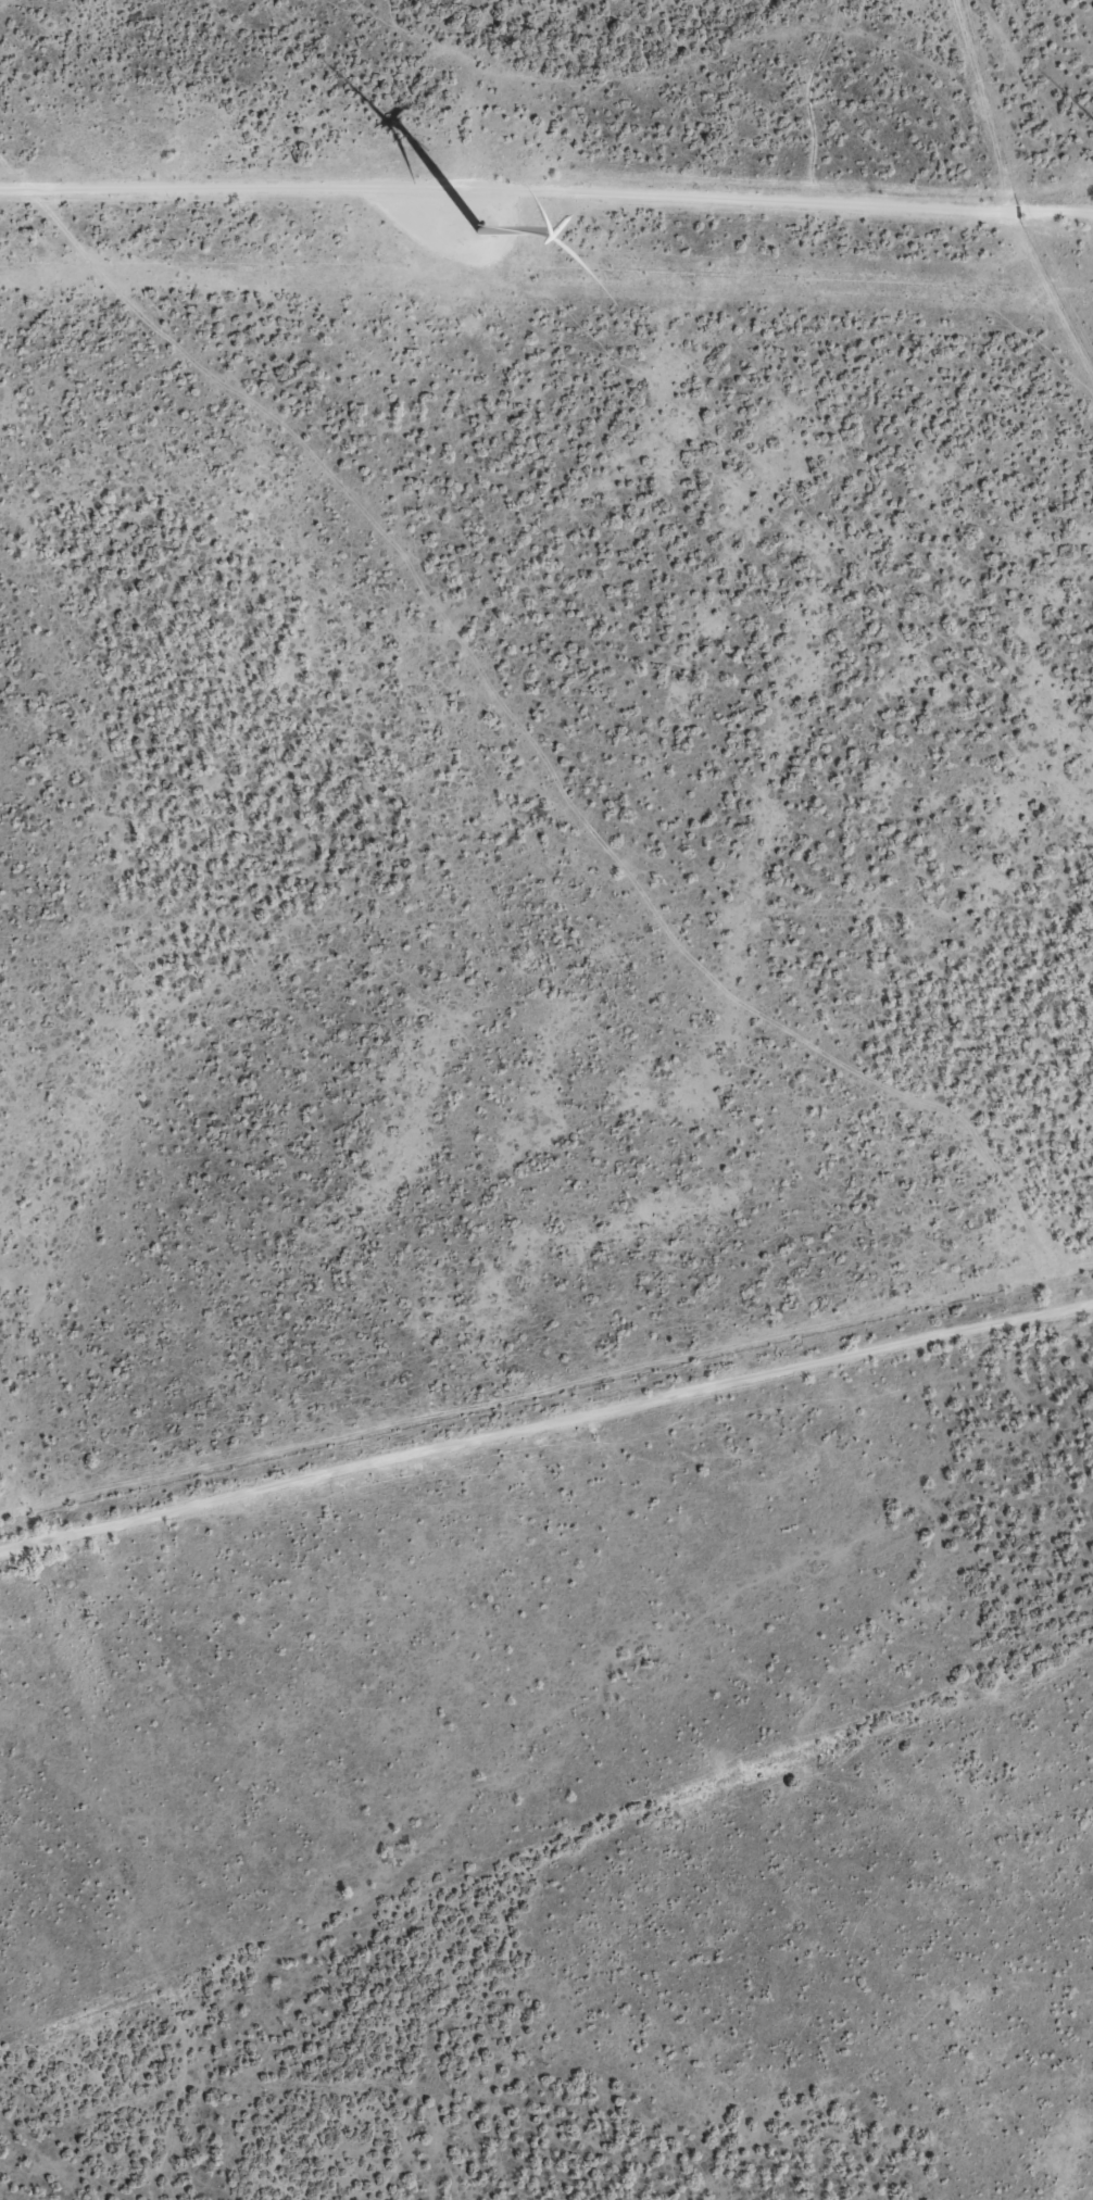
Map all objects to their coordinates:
wind turbine: (479, 223)
road: (514, 783)
road: (545, 1448)

